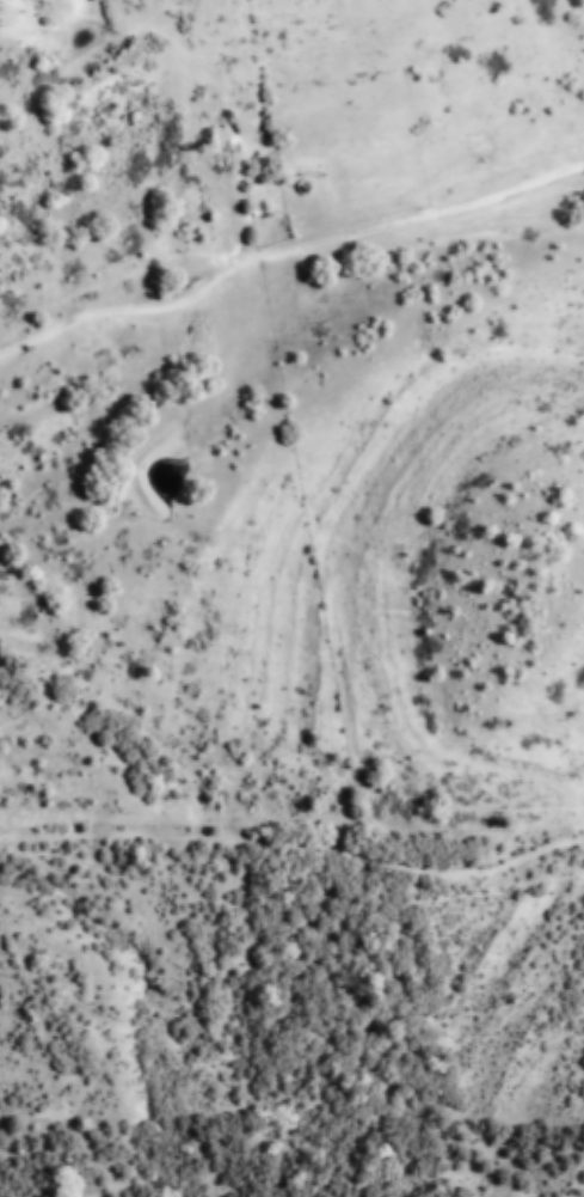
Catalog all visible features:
road: (285, 246)

